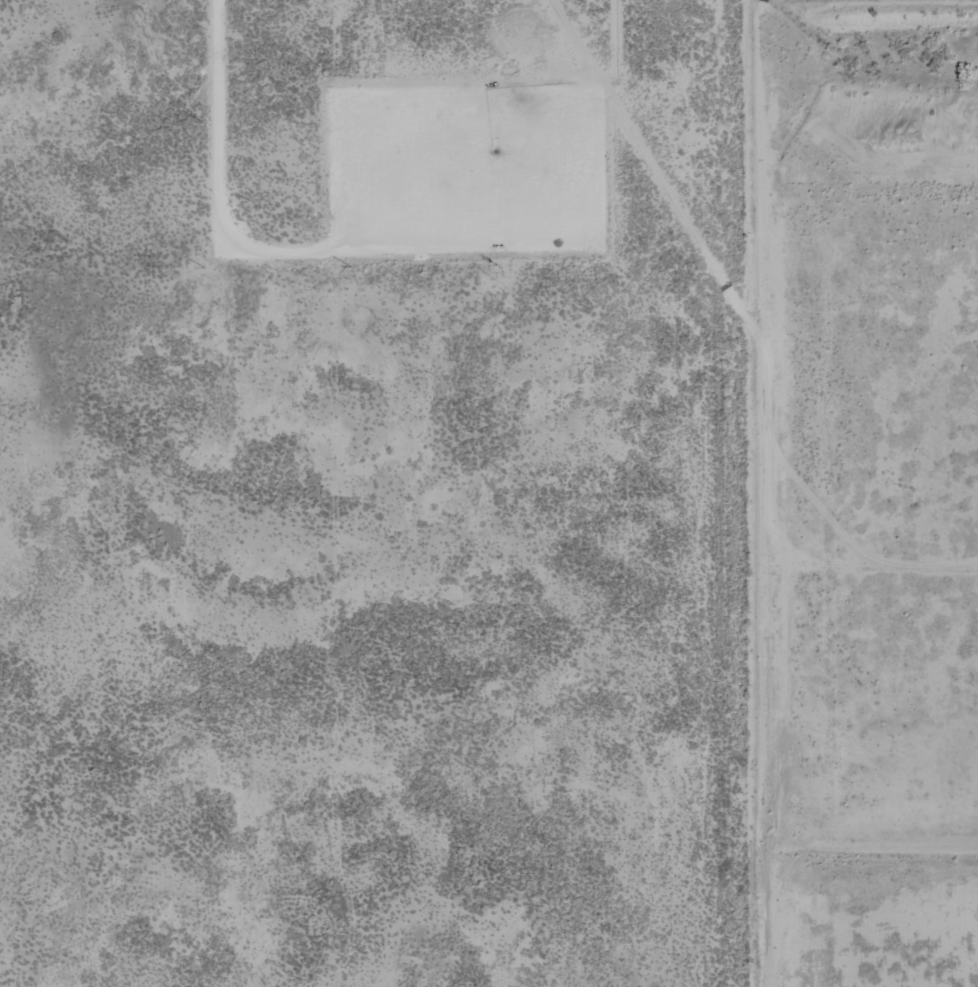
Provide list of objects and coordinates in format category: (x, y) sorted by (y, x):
road: (823, 852)

